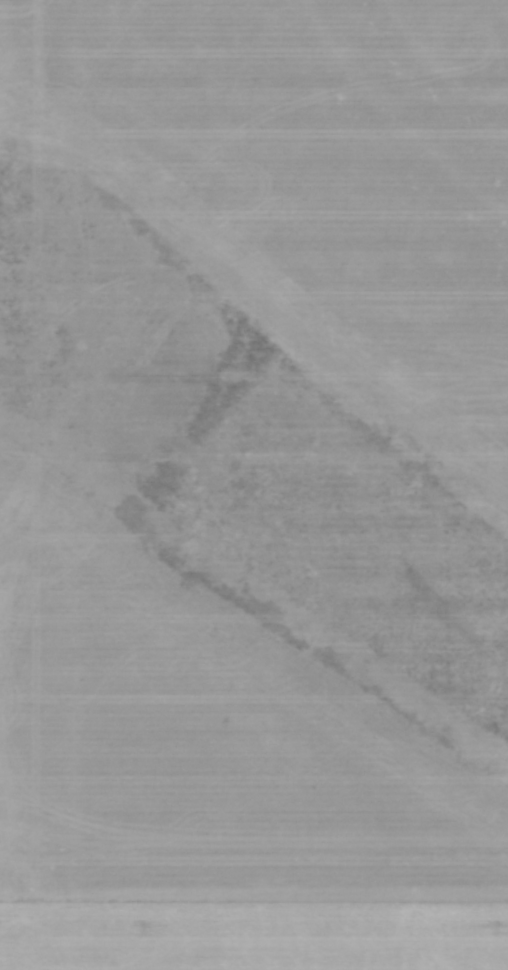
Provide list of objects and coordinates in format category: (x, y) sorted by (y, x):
crop: (254, 485)

